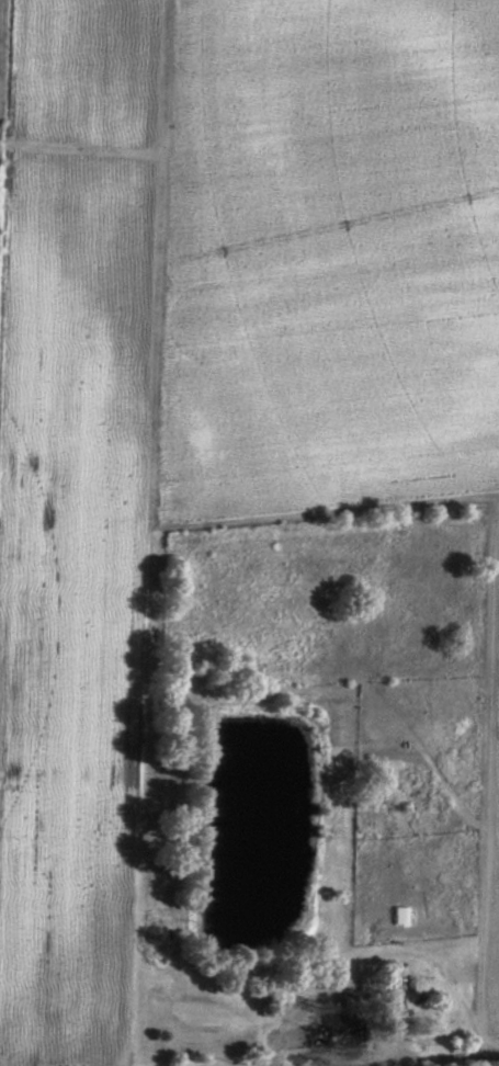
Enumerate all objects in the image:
road: (421, 1058)

